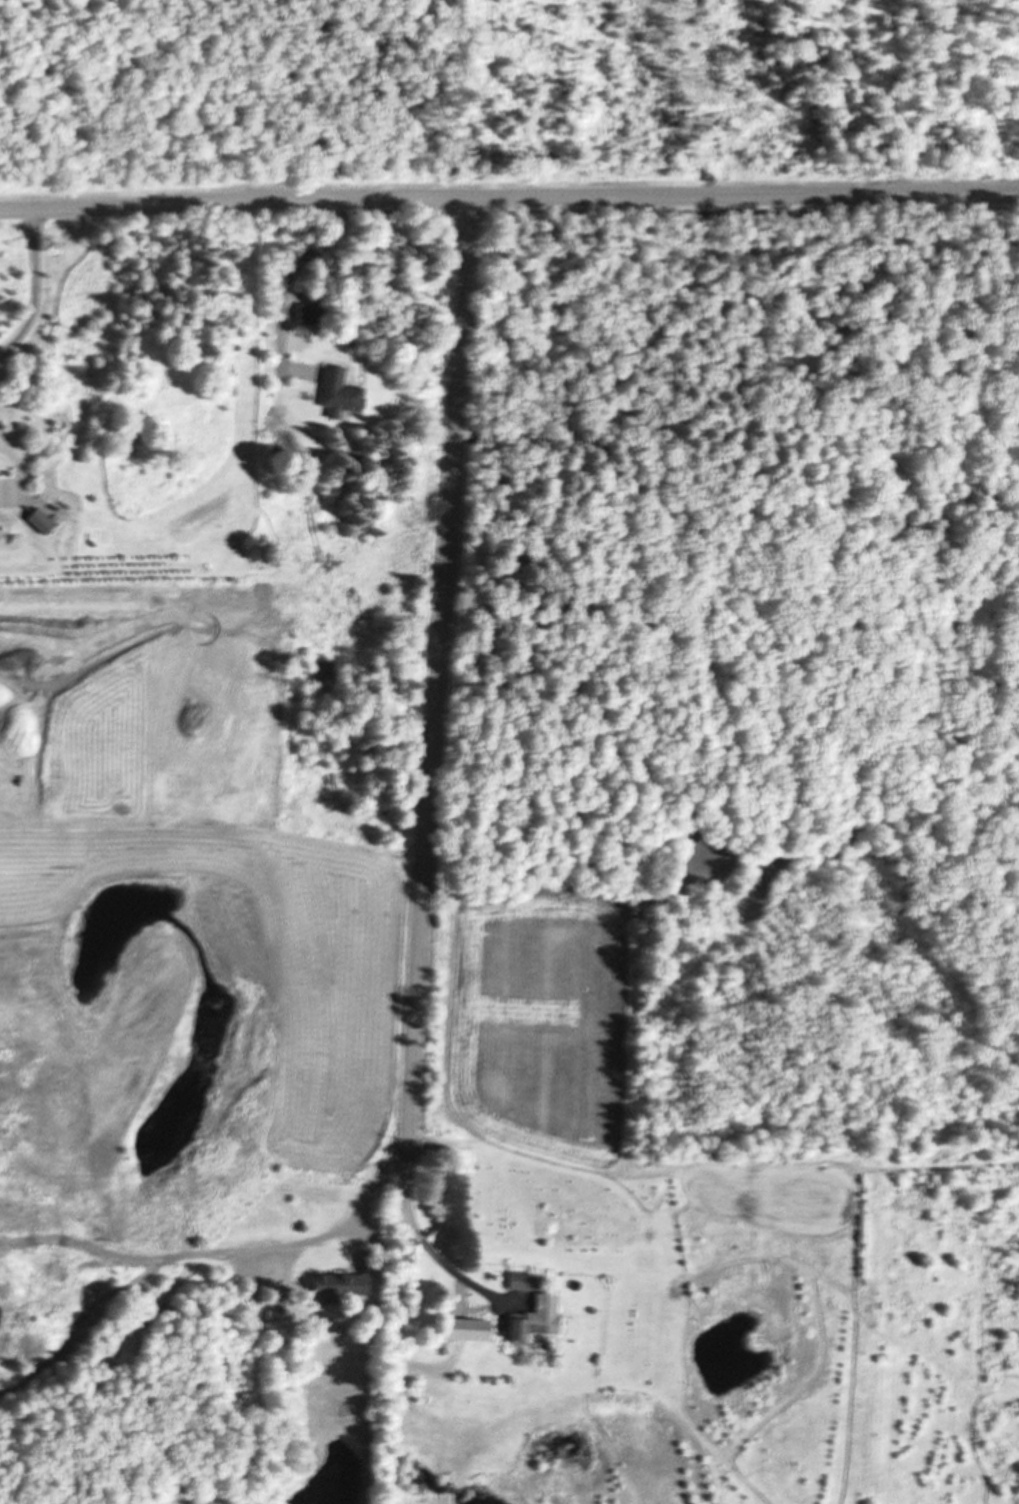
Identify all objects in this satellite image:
road: (509, 198)
building: (309, 313)
building: (341, 392)
building: (41, 521)
road: (438, 678)
building: (522, 1281)
building: (343, 1284)
building: (469, 1325)
building: (530, 1326)

